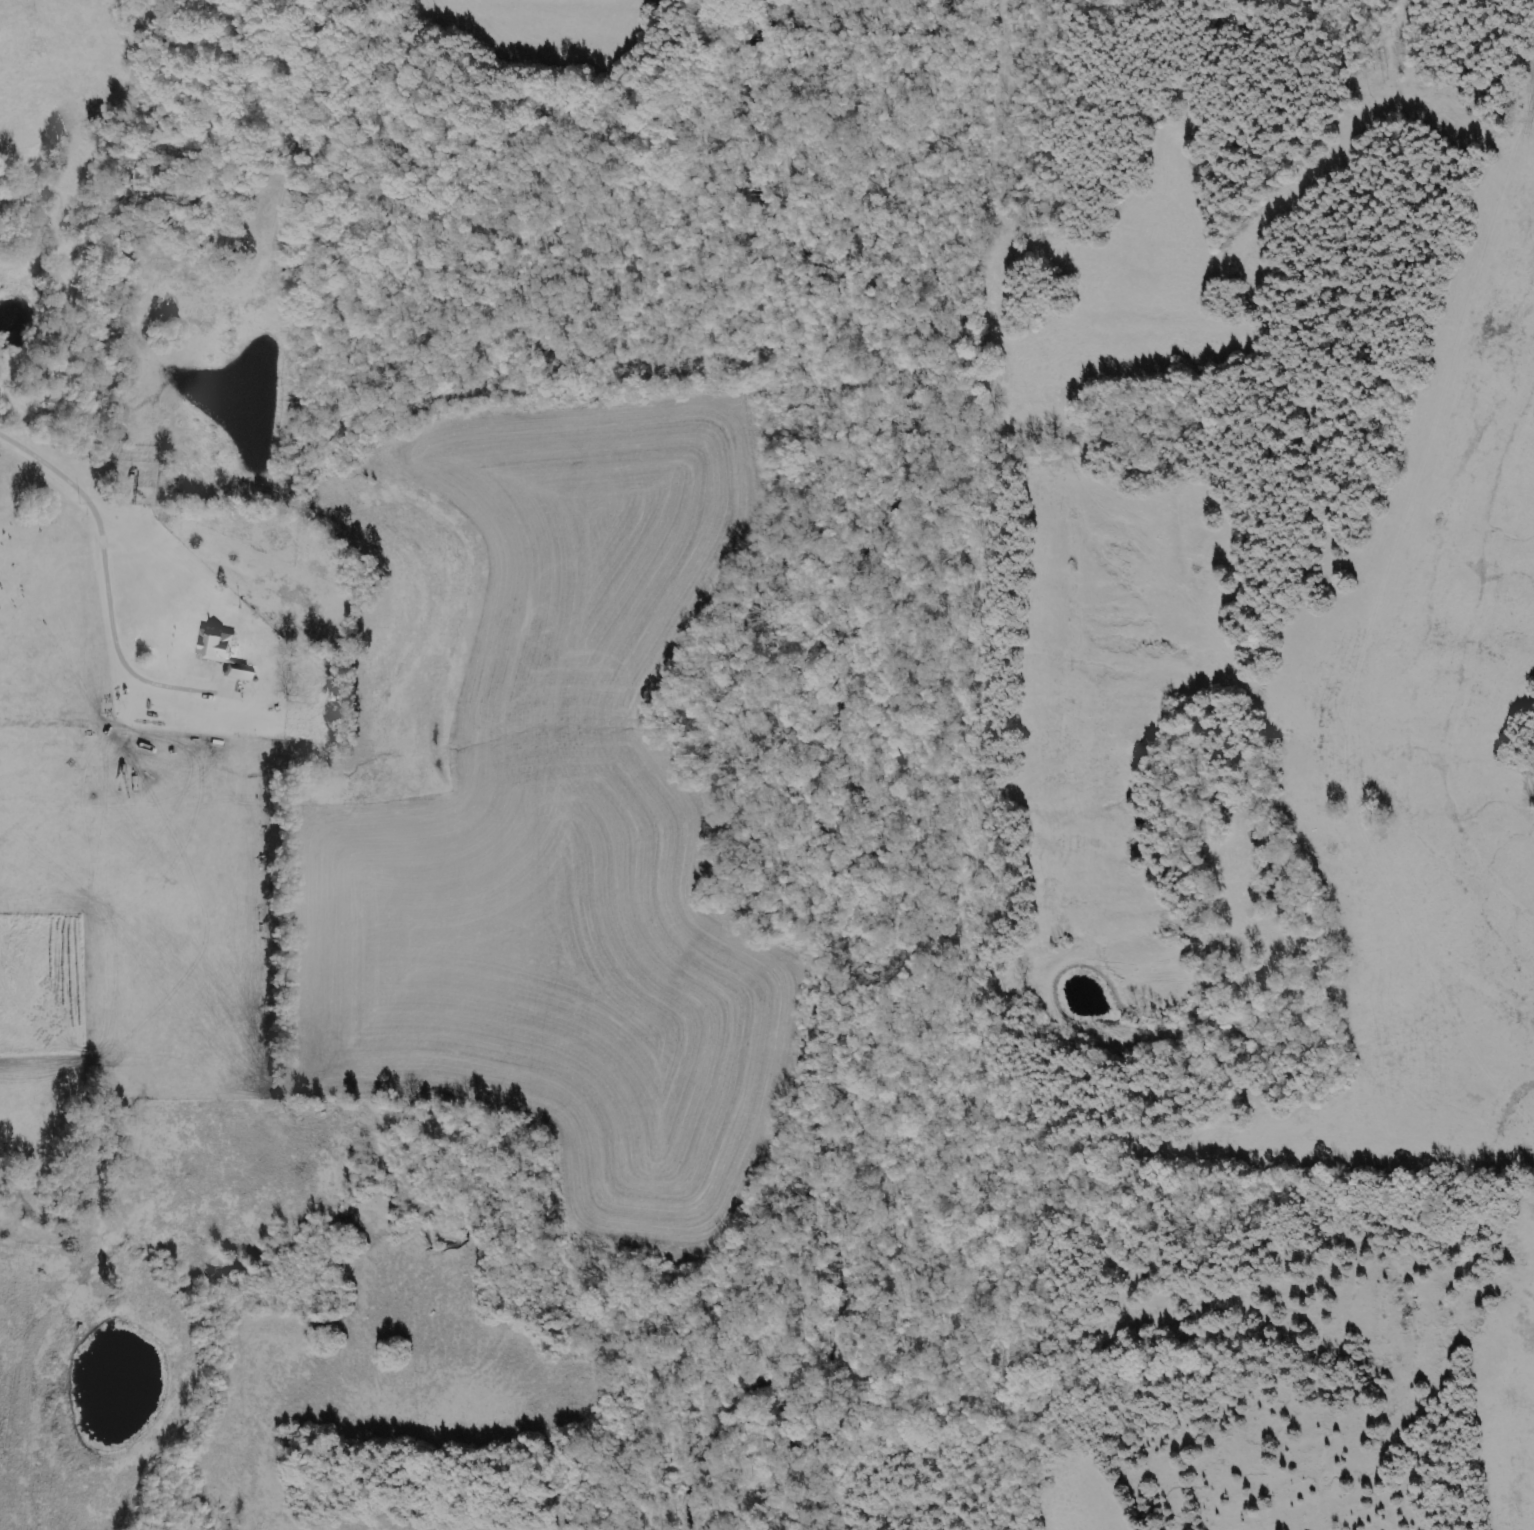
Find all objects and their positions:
road: (17, 443)
road: (109, 605)
building: (222, 653)

